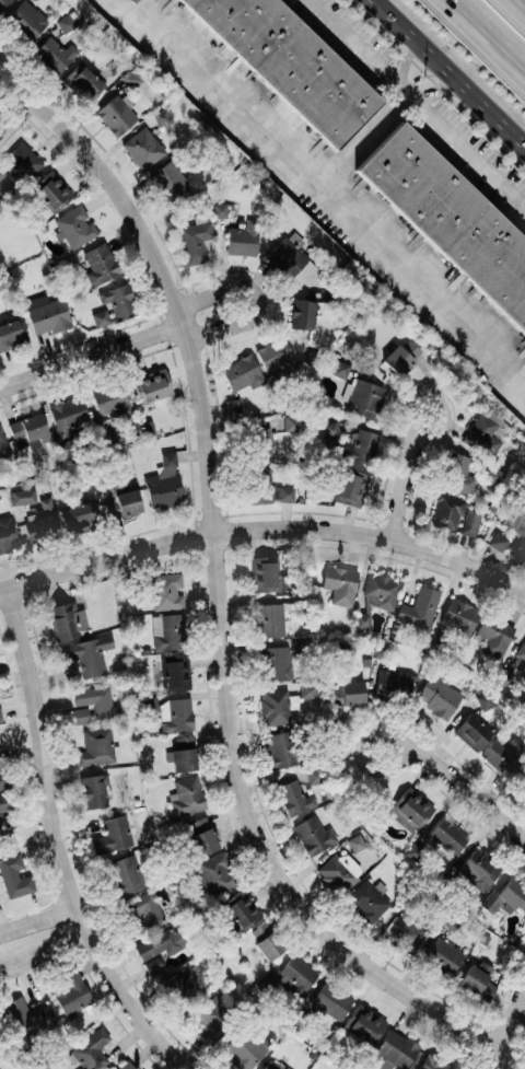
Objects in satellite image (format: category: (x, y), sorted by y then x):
building: (2, 2)
road: (521, 3)
building: (24, 20)
building: (66, 21)
road: (494, 27)
building: (51, 53)
building: (290, 62)
road: (448, 73)
building: (131, 77)
building: (81, 81)
road: (405, 86)
road: (419, 102)
road: (14, 109)
building: (114, 114)
building: (162, 115)
road: (361, 137)
building: (141, 148)
building: (19, 161)
building: (167, 181)
building: (50, 190)
road: (325, 191)
building: (219, 209)
building: (1, 211)
building: (448, 218)
building: (73, 225)
building: (244, 237)
building: (192, 240)
building: (284, 257)
building: (100, 262)
road: (261, 300)
building: (110, 304)
building: (300, 313)
building: (46, 315)
building: (9, 335)
building: (272, 352)
road: (90, 356)
building: (401, 356)
building: (340, 368)
building: (240, 372)
building: (150, 385)
building: (363, 397)
building: (108, 398)
building: (232, 404)
building: (67, 413)
building: (289, 421)
building: (330, 427)
building: (26, 429)
road: (416, 431)
building: (481, 434)
building: (257, 443)
building: (2, 444)
building: (360, 446)
building: (456, 473)
building: (491, 474)
building: (163, 483)
road: (404, 485)
building: (349, 487)
building: (265, 488)
building: (21, 495)
building: (125, 501)
building: (445, 511)
building: (78, 514)
building: (468, 522)
building: (39, 525)
building: (5, 535)
road: (373, 535)
building: (497, 541)
building: (518, 542)
road: (105, 557)
building: (261, 572)
building: (338, 583)
building: (166, 591)
building: (378, 591)
road: (218, 600)
building: (418, 607)
building: (457, 616)
building: (66, 619)
building: (268, 619)
building: (168, 631)
building: (492, 635)
building: (381, 650)
building: (521, 651)
building: (86, 654)
building: (275, 664)
building: (174, 672)
building: (523, 673)
building: (392, 684)
building: (307, 688)
building: (345, 693)
building: (436, 695)
building: (92, 705)
building: (273, 707)
building: (175, 713)
building: (0, 714)
building: (470, 731)
building: (95, 746)
building: (281, 748)
building: (182, 753)
building: (499, 756)
road: (387, 765)
building: (314, 774)
building: (3, 778)
building: (521, 778)
road: (464, 789)
building: (93, 791)
building: (186, 794)
building: (291, 797)
building: (4, 802)
building: (408, 806)
building: (311, 833)
building: (113, 834)
building: (446, 835)
building: (199, 836)
building: (355, 841)
road: (56, 846)
building: (415, 850)
building: (478, 868)
building: (338, 871)
building: (214, 872)
building: (125, 873)
building: (13, 875)
building: (512, 895)
building: (365, 900)
building: (238, 909)
building: (139, 913)
road: (71, 920)
building: (405, 932)
building: (264, 939)
building: (153, 950)
building: (442, 955)
building: (296, 974)
building: (476, 980)
building: (180, 986)
building: (70, 990)
building: (328, 1001)
building: (213, 1014)
building: (28, 1016)
building: (363, 1023)
road: (506, 1027)
building: (244, 1048)
building: (395, 1048)
building: (90, 1049)
building: (432, 1062)
building: (125, 1065)
building: (272, 1065)

